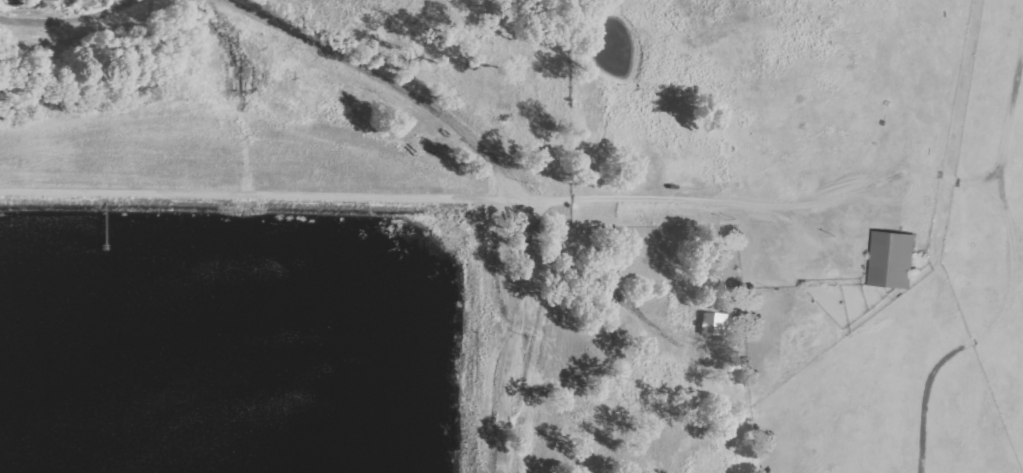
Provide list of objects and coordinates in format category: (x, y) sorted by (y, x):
road: (7, 0)
building: (48, 0)
road: (513, 176)
building: (890, 259)
road: (1011, 270)
building: (716, 324)

